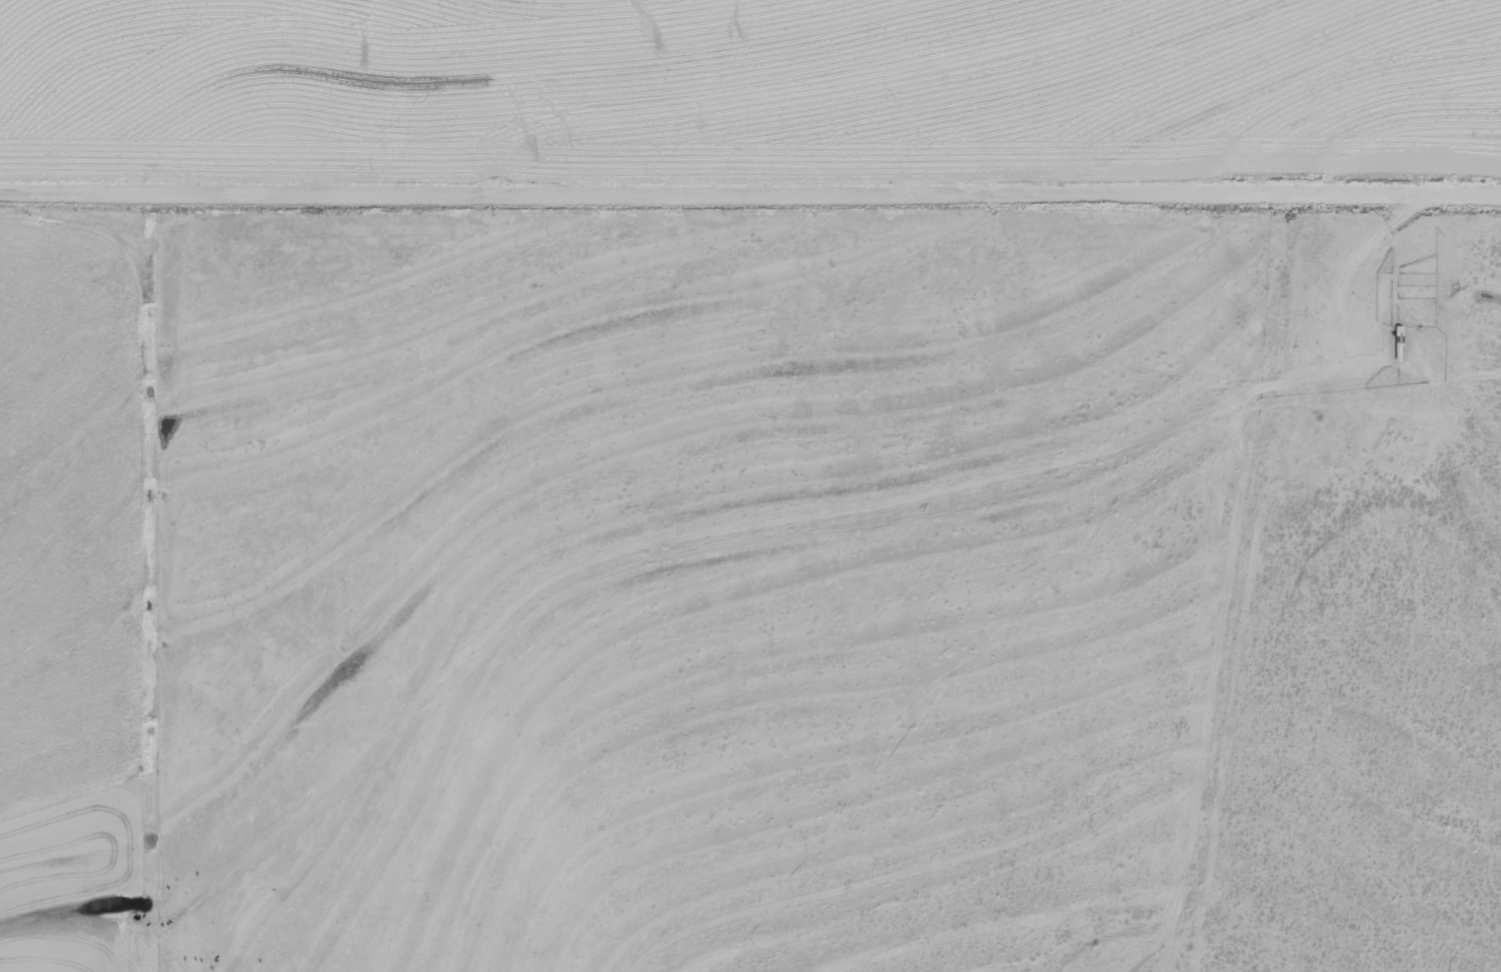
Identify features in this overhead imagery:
road: (750, 196)

